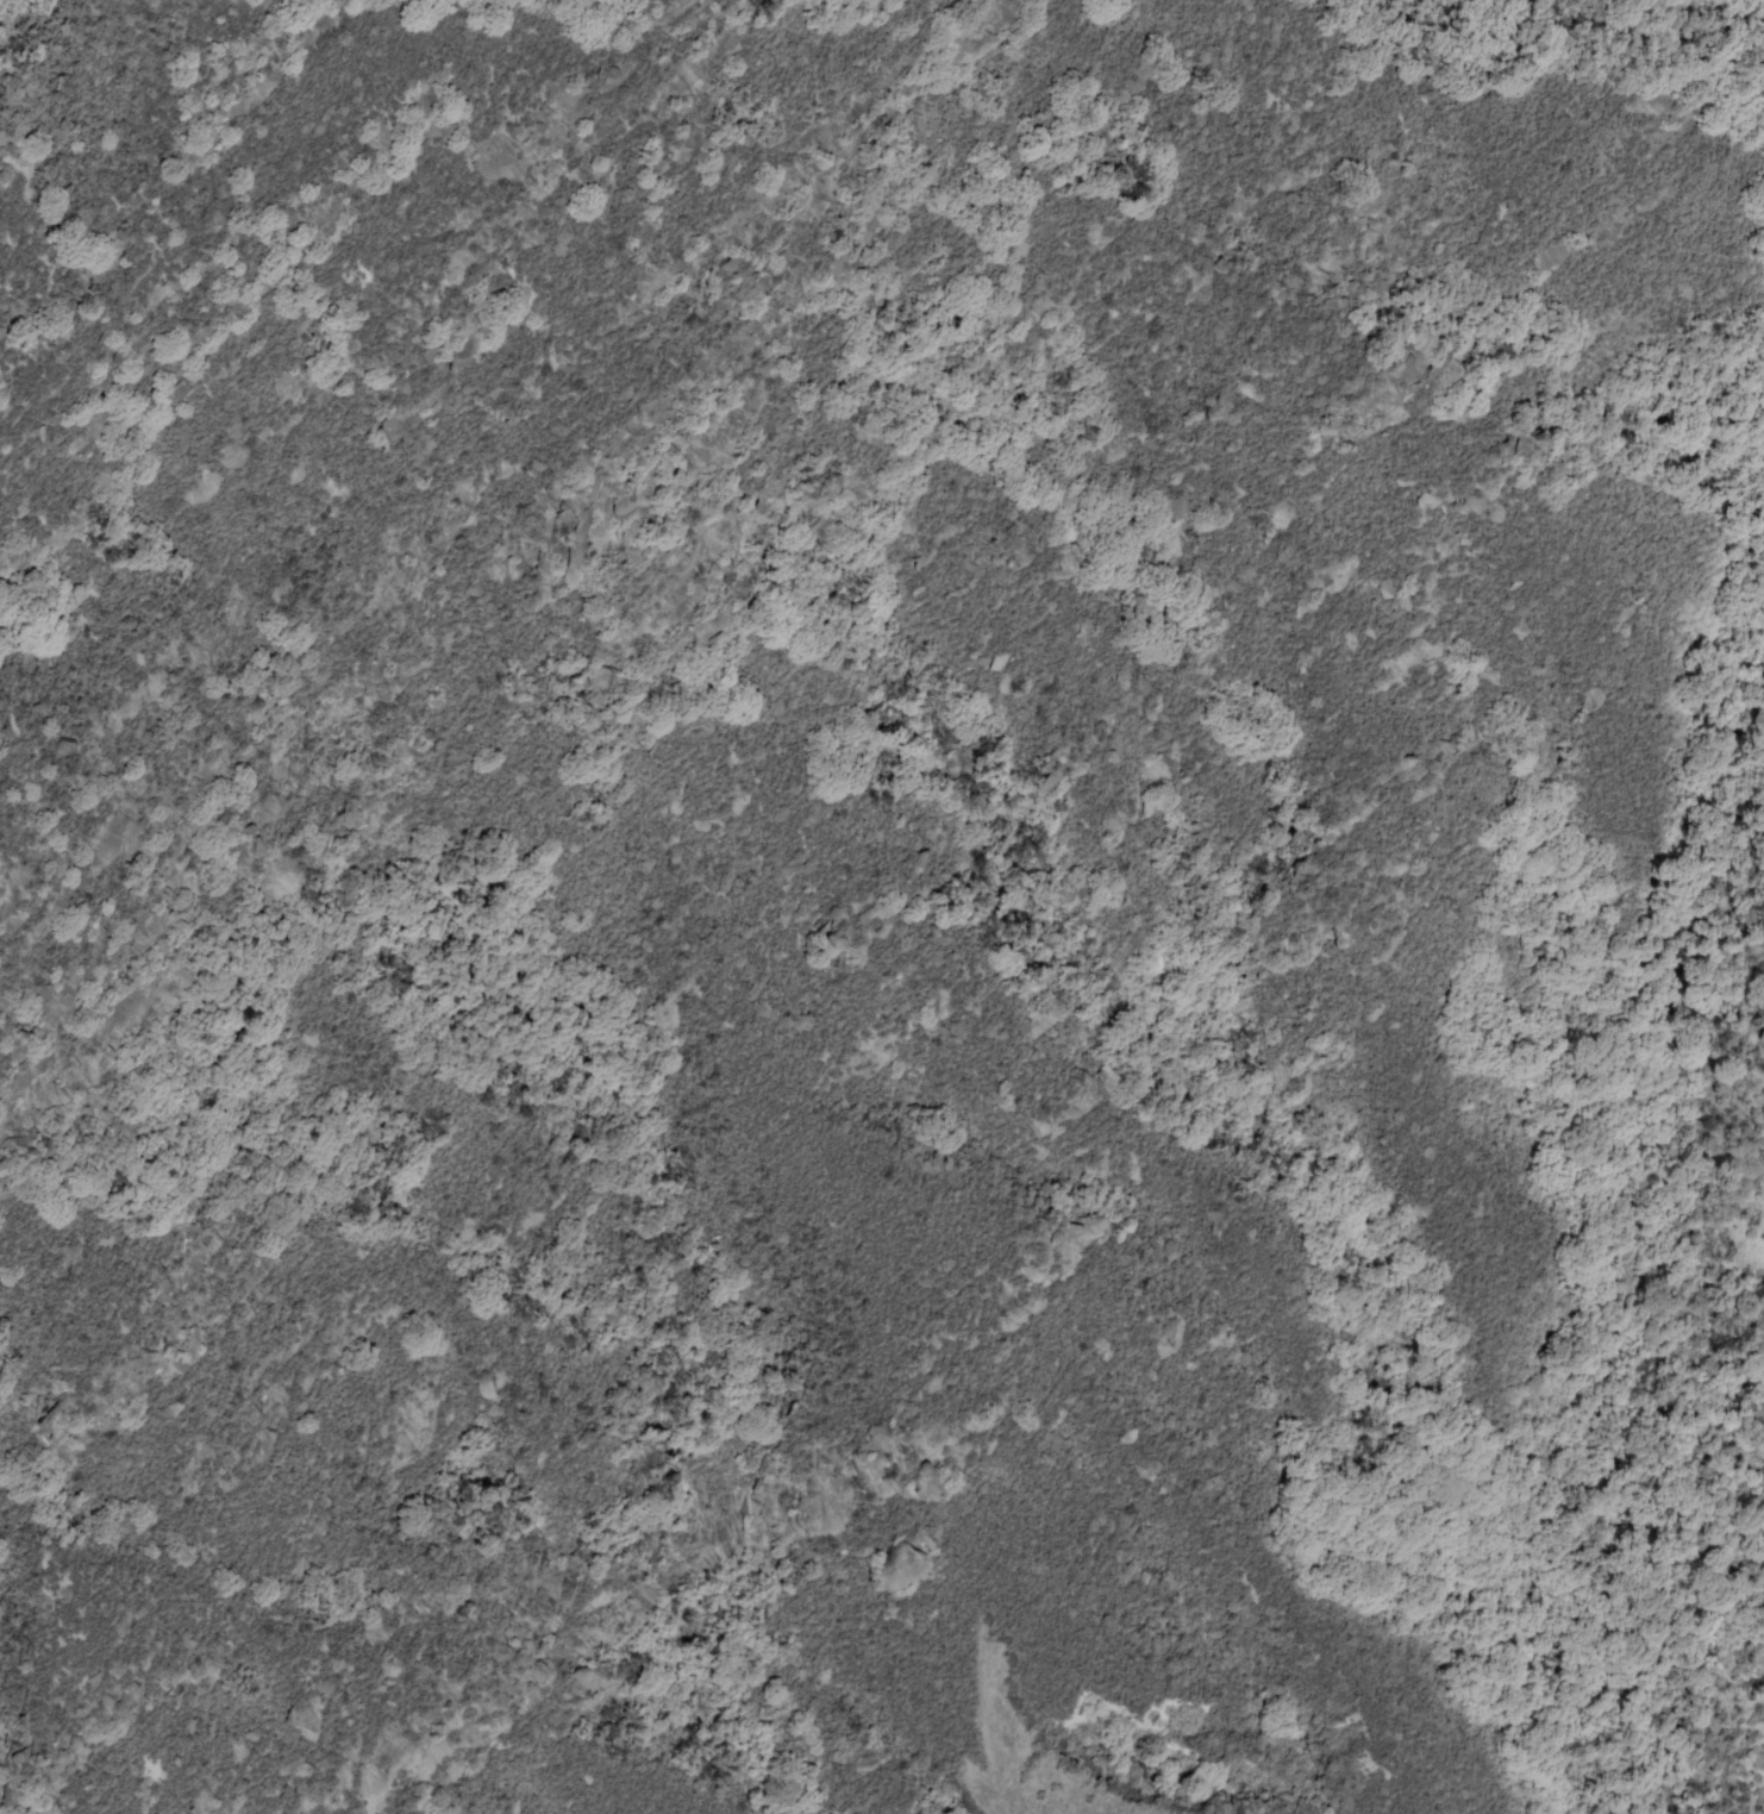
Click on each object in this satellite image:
building: (1546, 259)
building: (1518, 632)

